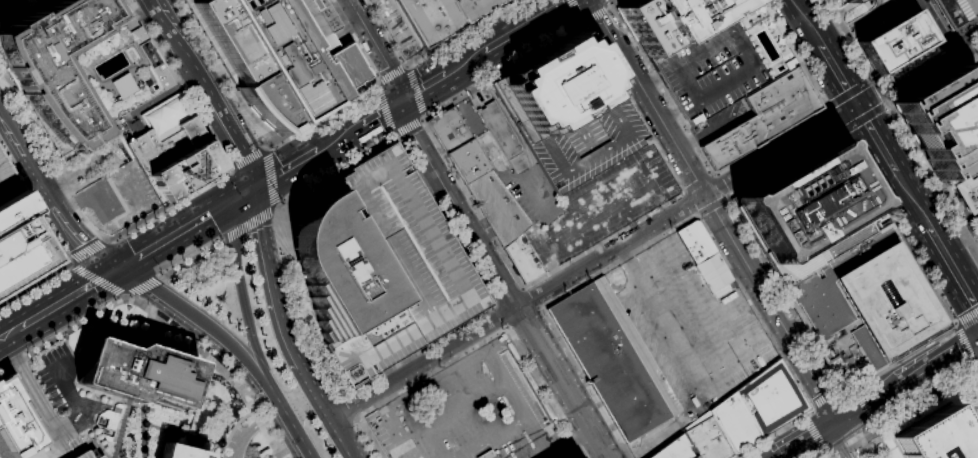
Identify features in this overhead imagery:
building: (509, 0)
building: (848, 1)
road: (611, 2)
road: (8, 5)
building: (971, 6)
road: (609, 7)
road: (935, 7)
building: (476, 8)
building: (962, 9)
road: (576, 10)
road: (22, 13)
building: (949, 13)
road: (594, 15)
flagpole: (971, 18)
building: (433, 19)
road: (921, 21)
flagpole: (965, 21)
road: (808, 22)
road: (581, 23)
road: (945, 23)
building: (401, 25)
road: (528, 25)
road: (857, 25)
road: (935, 25)
road: (965, 25)
road: (952, 33)
road: (957, 33)
road: (970, 37)
road: (944, 40)
road: (352, 41)
building: (894, 41)
road: (962, 41)
road: (852, 42)
building: (144, 44)
road: (935, 44)
road: (956, 45)
road: (378, 48)
building: (708, 50)
road: (968, 50)
road: (974, 51)
road: (428, 52)
building: (977, 53)
parking lot: (977, 53)
building: (279, 55)
road: (966, 57)
road: (947, 60)
road: (466, 62)
building: (53, 63)
road: (901, 63)
road: (405, 66)
road: (407, 67)
road: (839, 74)
road: (393, 75)
building: (974, 78)
road: (925, 80)
road: (178, 84)
road: (377, 84)
building: (122, 86)
road: (424, 87)
road: (211, 91)
road: (415, 91)
road: (880, 92)
road: (847, 94)
traffic signals: (402, 100)
traffic signals: (857, 105)
road: (826, 106)
road: (385, 108)
road: (382, 112)
building: (570, 112)
building: (764, 117)
road: (831, 117)
road: (423, 118)
road: (863, 119)
building: (943, 120)
road: (422, 122)
road: (409, 128)
building: (448, 129)
road: (257, 130)
road: (842, 131)
road: (394, 133)
road: (396, 135)
building: (503, 135)
road: (340, 136)
road: (877, 138)
parking lot: (590, 143)
road: (266, 148)
road: (268, 148)
building: (175, 150)
road: (28, 153)
road: (249, 158)
building: (467, 160)
road: (735, 161)
railway: (282, 167)
railway: (282, 167)
road: (287, 167)
road: (81, 170)
road: (961, 173)
road: (713, 174)
road: (931, 176)
road: (269, 177)
building: (8, 180)
parking lot: (8, 180)
flagpole: (200, 182)
road: (698, 183)
flagpole: (195, 185)
road: (941, 185)
traffic signals: (256, 186)
road: (719, 186)
flagpole: (189, 189)
road: (682, 191)
road: (684, 192)
building: (965, 193)
road: (727, 197)
road: (913, 199)
road: (949, 202)
traffic signals: (227, 203)
road: (690, 203)
road: (712, 205)
road: (276, 207)
building: (497, 207)
road: (715, 211)
building: (809, 212)
road: (274, 215)
road: (697, 216)
road: (960, 218)
road: (967, 218)
road: (196, 221)
road: (740, 221)
road: (87, 222)
road: (247, 226)
road: (972, 226)
road: (681, 227)
road: (964, 228)
road: (278, 229)
road: (641, 235)
road: (55, 239)
road: (108, 240)
building: (696, 241)
road: (78, 242)
building: (24, 245)
road: (87, 250)
building: (523, 258)
road: (192, 259)
road: (70, 261)
road: (126, 264)
road: (71, 265)
building: (382, 266)
road: (953, 269)
traffic signals: (115, 271)
building: (714, 274)
road: (271, 278)
road: (97, 279)
road: (501, 280)
road: (94, 282)
road: (146, 285)
road: (521, 287)
road: (124, 295)
road: (130, 295)
road: (507, 297)
road: (530, 298)
road: (939, 301)
road: (494, 305)
building: (867, 305)
road: (248, 307)
road: (540, 309)
road: (38, 316)
road: (500, 316)
road: (522, 317)
road: (670, 317)
road: (967, 317)
road: (161, 318)
road: (955, 326)
road: (506, 328)
road: (207, 329)
road: (150, 330)
road: (497, 333)
parking lot: (689, 334)
road: (1, 339)
road: (965, 343)
building: (614, 359)
road: (936, 364)
road: (976, 365)
building: (138, 373)
parking lot: (59, 374)
road: (436, 382)
road: (861, 388)
road: (839, 390)
road: (851, 390)
road: (315, 392)
road: (67, 395)
road: (111, 396)
road: (35, 398)
building: (772, 398)
road: (826, 398)
road: (349, 404)
road: (893, 404)
road: (517, 406)
road: (866, 406)
road: (81, 407)
road: (814, 408)
road: (865, 408)
parking lot: (470, 413)
road: (906, 414)
road: (358, 415)
building: (113, 416)
road: (804, 419)
building: (15, 421)
building: (735, 423)
road: (253, 425)
road: (392, 425)
road: (144, 427)
road: (881, 427)
road: (232, 429)
road: (298, 433)
road: (183, 435)
road: (343, 437)
road: (532, 437)
road: (368, 438)
road: (815, 438)
building: (938, 438)
building: (708, 440)
road: (811, 441)
road: (566, 443)
road: (837, 444)
road: (862, 446)
building: (675, 450)
building: (181, 452)
building: (88, 454)
parking garage: (88, 454)
building: (486, 454)
building: (696, 457)
road: (826, 457)

